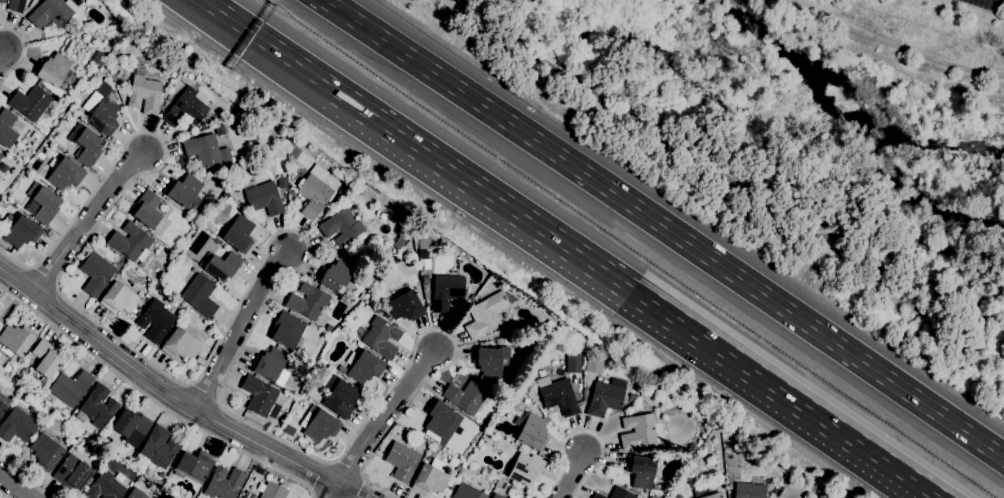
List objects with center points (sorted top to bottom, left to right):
building: (2, 1)
building: (15, 5)
building: (51, 12)
road: (893, 43)
road: (270, 44)
road: (2, 52)
road: (23, 52)
building: (98, 57)
building: (52, 69)
building: (145, 94)
river: (846, 100)
building: (30, 102)
building: (186, 107)
building: (102, 115)
building: (6, 128)
building: (267, 137)
building: (85, 144)
building: (206, 151)
building: (0, 155)
building: (318, 172)
building: (65, 173)
road: (709, 173)
building: (281, 182)
building: (184, 191)
building: (313, 194)
building: (263, 197)
building: (43, 202)
building: (146, 209)
building: (381, 214)
road: (85, 220)
building: (341, 226)
road: (665, 227)
building: (22, 231)
building: (239, 234)
road: (275, 234)
building: (130, 240)
building: (220, 265)
road: (597, 265)
building: (95, 273)
building: (335, 275)
building: (446, 291)
building: (199, 295)
building: (119, 298)
building: (307, 300)
building: (404, 306)
building: (485, 315)
building: (155, 320)
building: (328, 327)
road: (238, 328)
building: (287, 329)
building: (381, 337)
building: (15, 340)
building: (179, 344)
building: (46, 358)
building: (489, 361)
building: (573, 362)
building: (594, 364)
building: (270, 365)
building: (363, 366)
building: (512, 369)
building: (70, 387)
road: (160, 388)
building: (636, 388)
building: (258, 395)
building: (557, 395)
building: (466, 396)
building: (340, 397)
building: (605, 397)
building: (631, 397)
road: (152, 399)
building: (3, 403)
building: (96, 406)
building: (273, 410)
road: (383, 416)
building: (441, 419)
building: (131, 423)
building: (17, 425)
building: (319, 425)
building: (530, 430)
road: (585, 431)
building: (637, 431)
building: (158, 446)
building: (692, 447)
building: (45, 452)
building: (401, 461)
building: (193, 466)
building: (525, 469)
building: (640, 470)
road: (899, 470)
building: (71, 472)
road: (572, 475)
building: (118, 476)
road: (320, 477)
road: (26, 478)
building: (429, 479)
building: (223, 483)
building: (104, 486)
road: (13, 487)
road: (360, 488)
building: (749, 490)
building: (273, 491)
road: (333, 491)
road: (349, 491)
building: (707, 491)
building: (467, 492)
building: (135, 493)
building: (620, 493)
road: (4, 494)
building: (596, 495)
road: (315, 496)
building: (496, 496)
building: (511, 496)
building: (677, 496)

